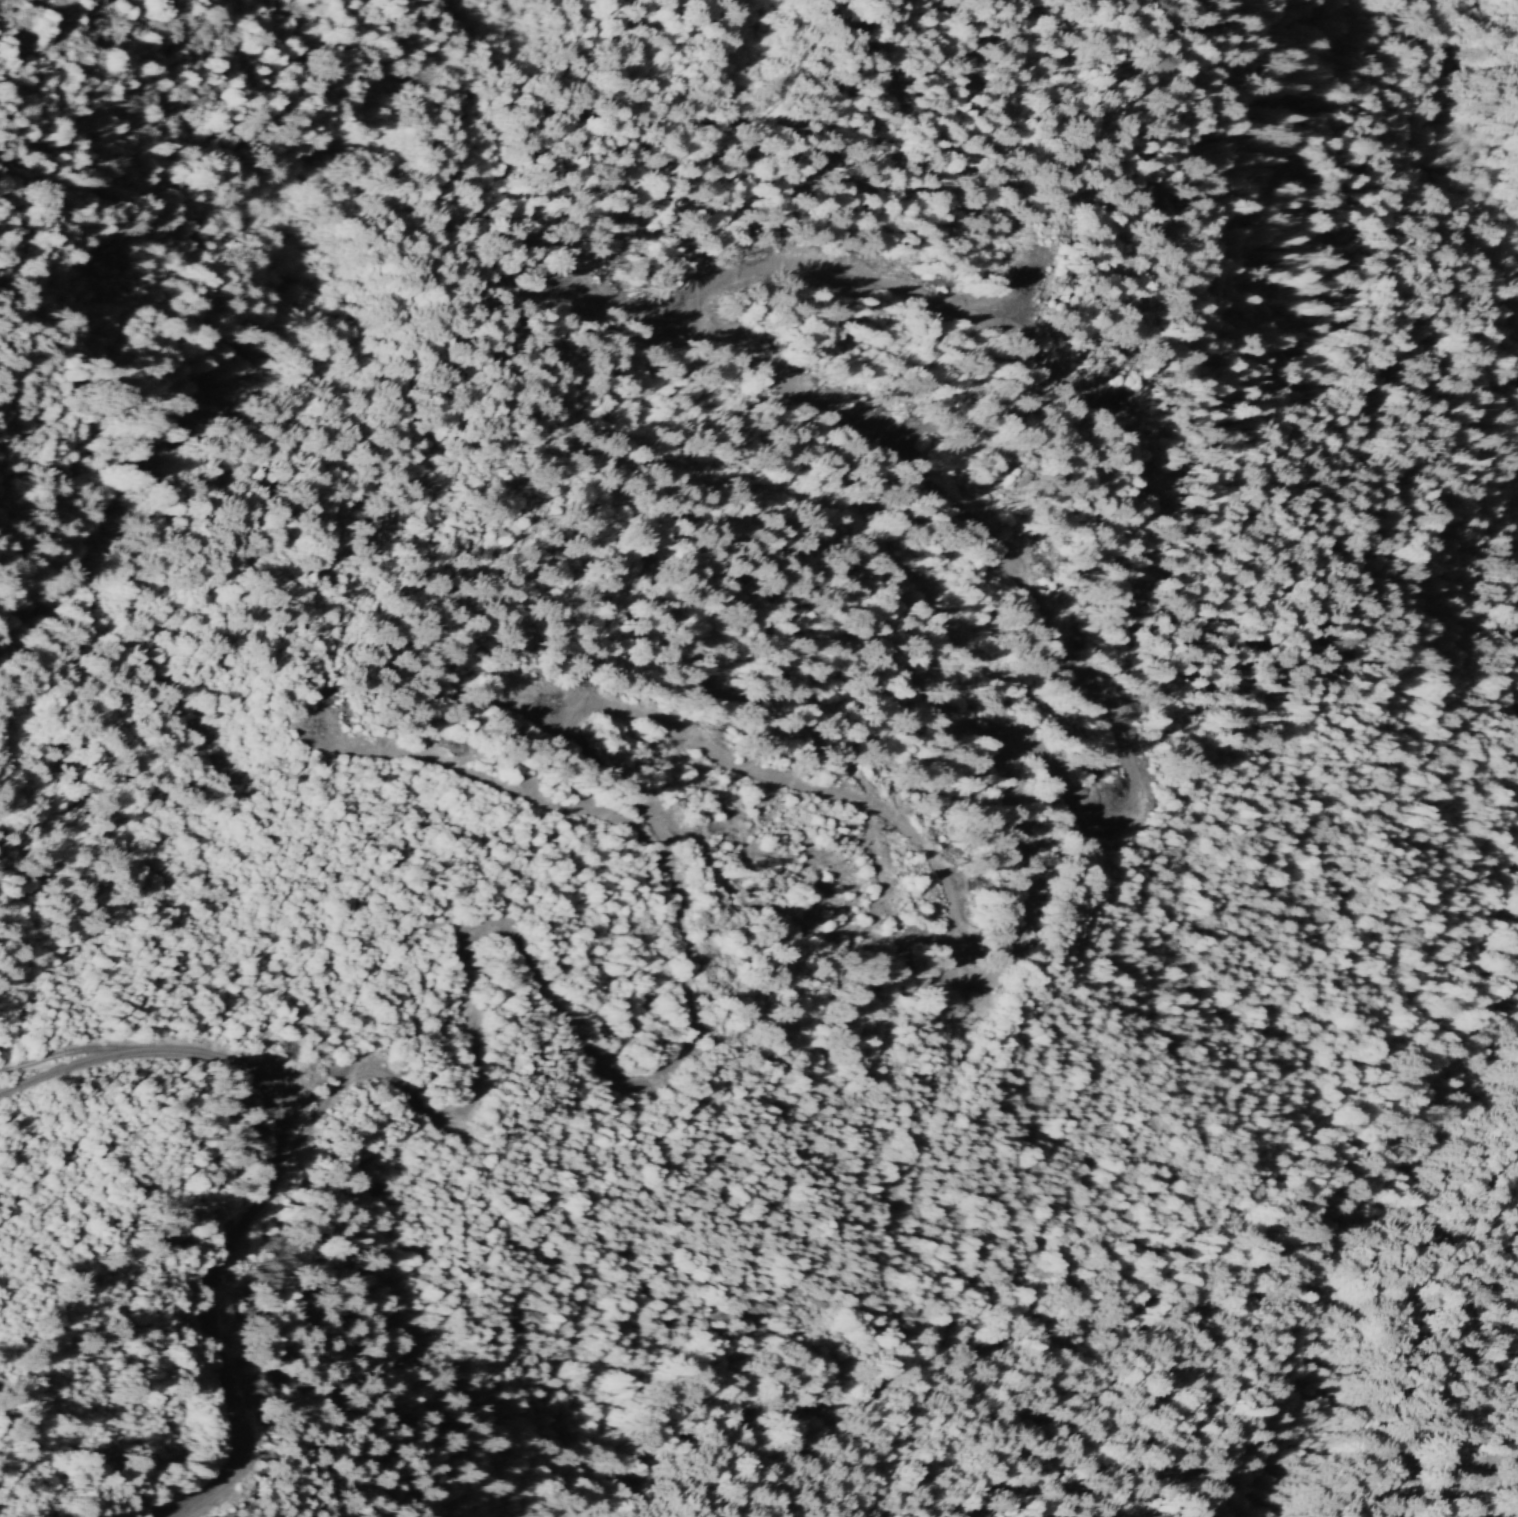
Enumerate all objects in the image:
road: (287, 1168)

